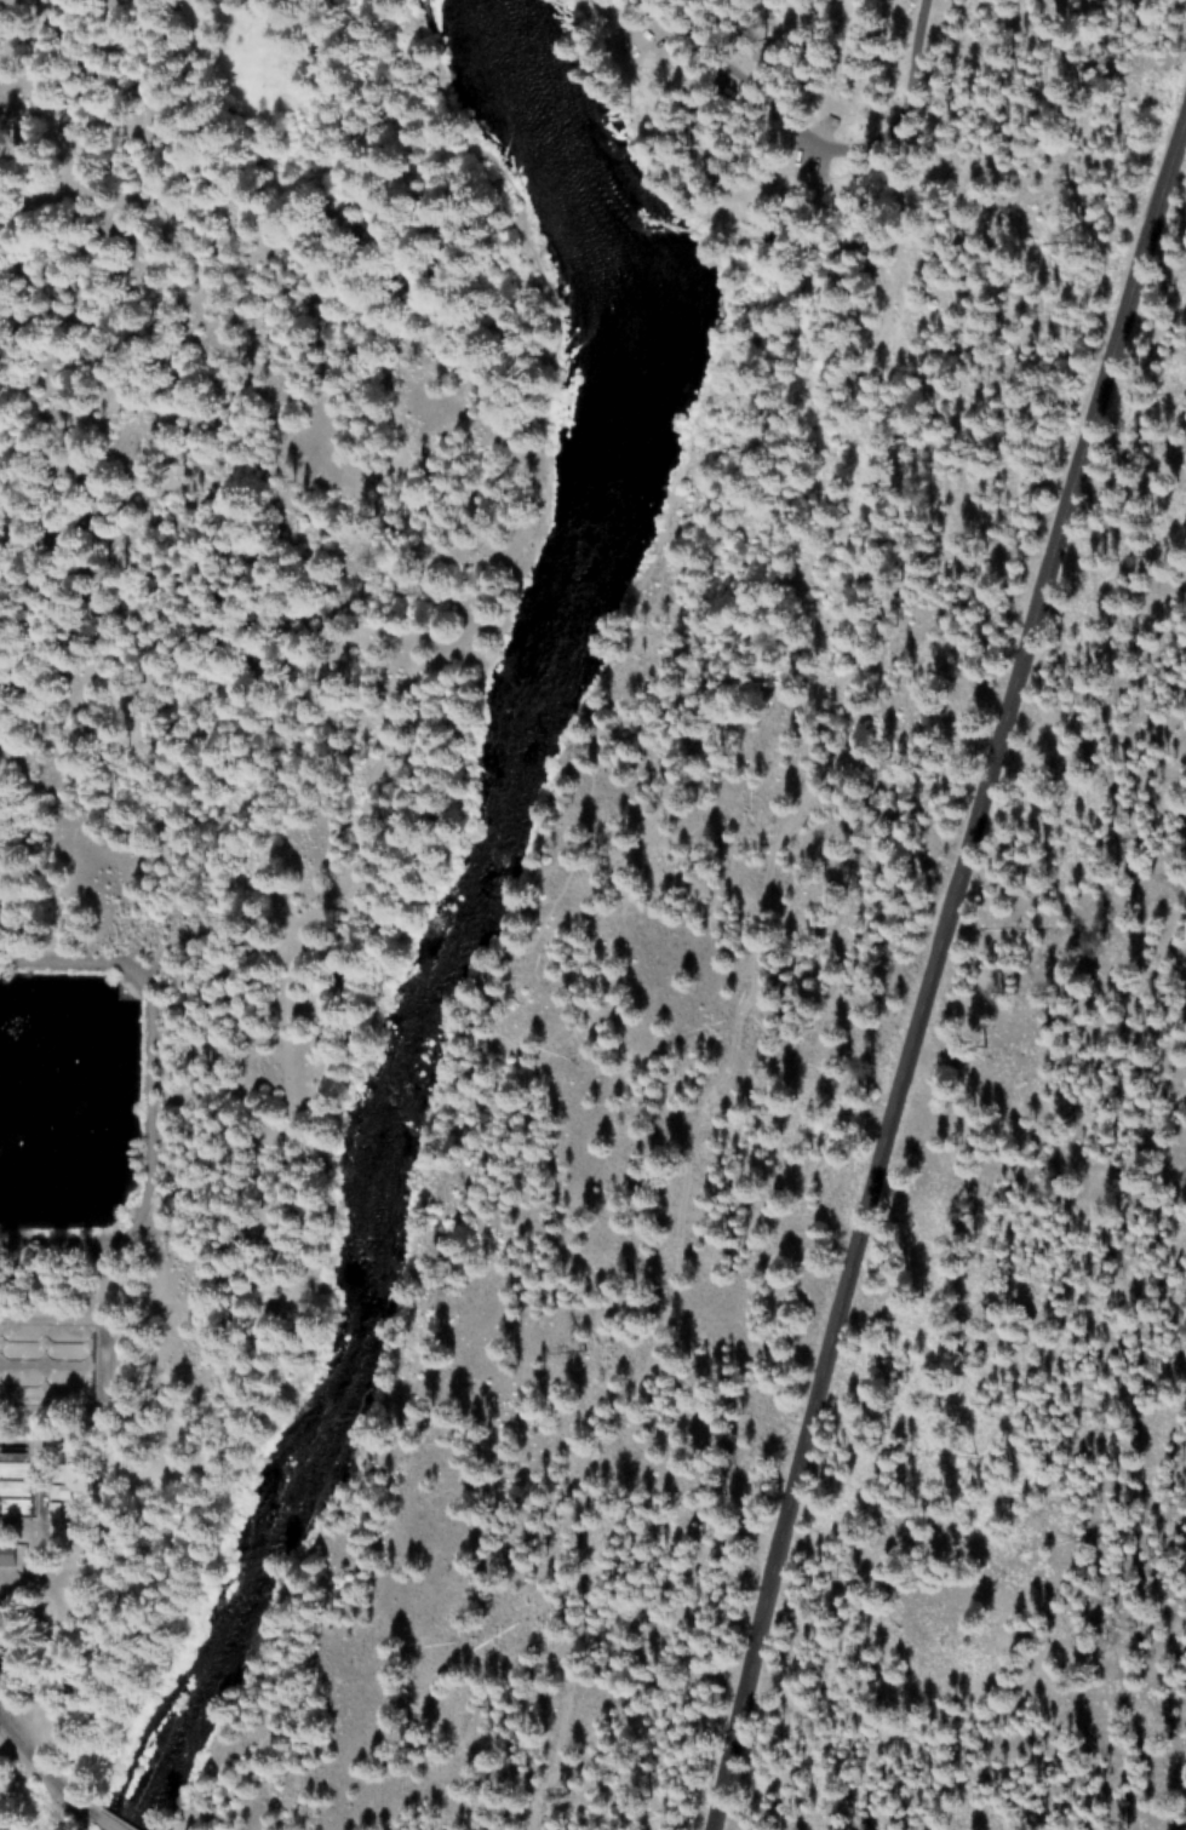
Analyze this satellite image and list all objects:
road: (812, 120)
road: (339, 864)
river: (463, 910)
road: (542, 920)
road: (934, 979)
aquafarm: (76, 1246)
road: (51, 1779)
road: (107, 1828)

